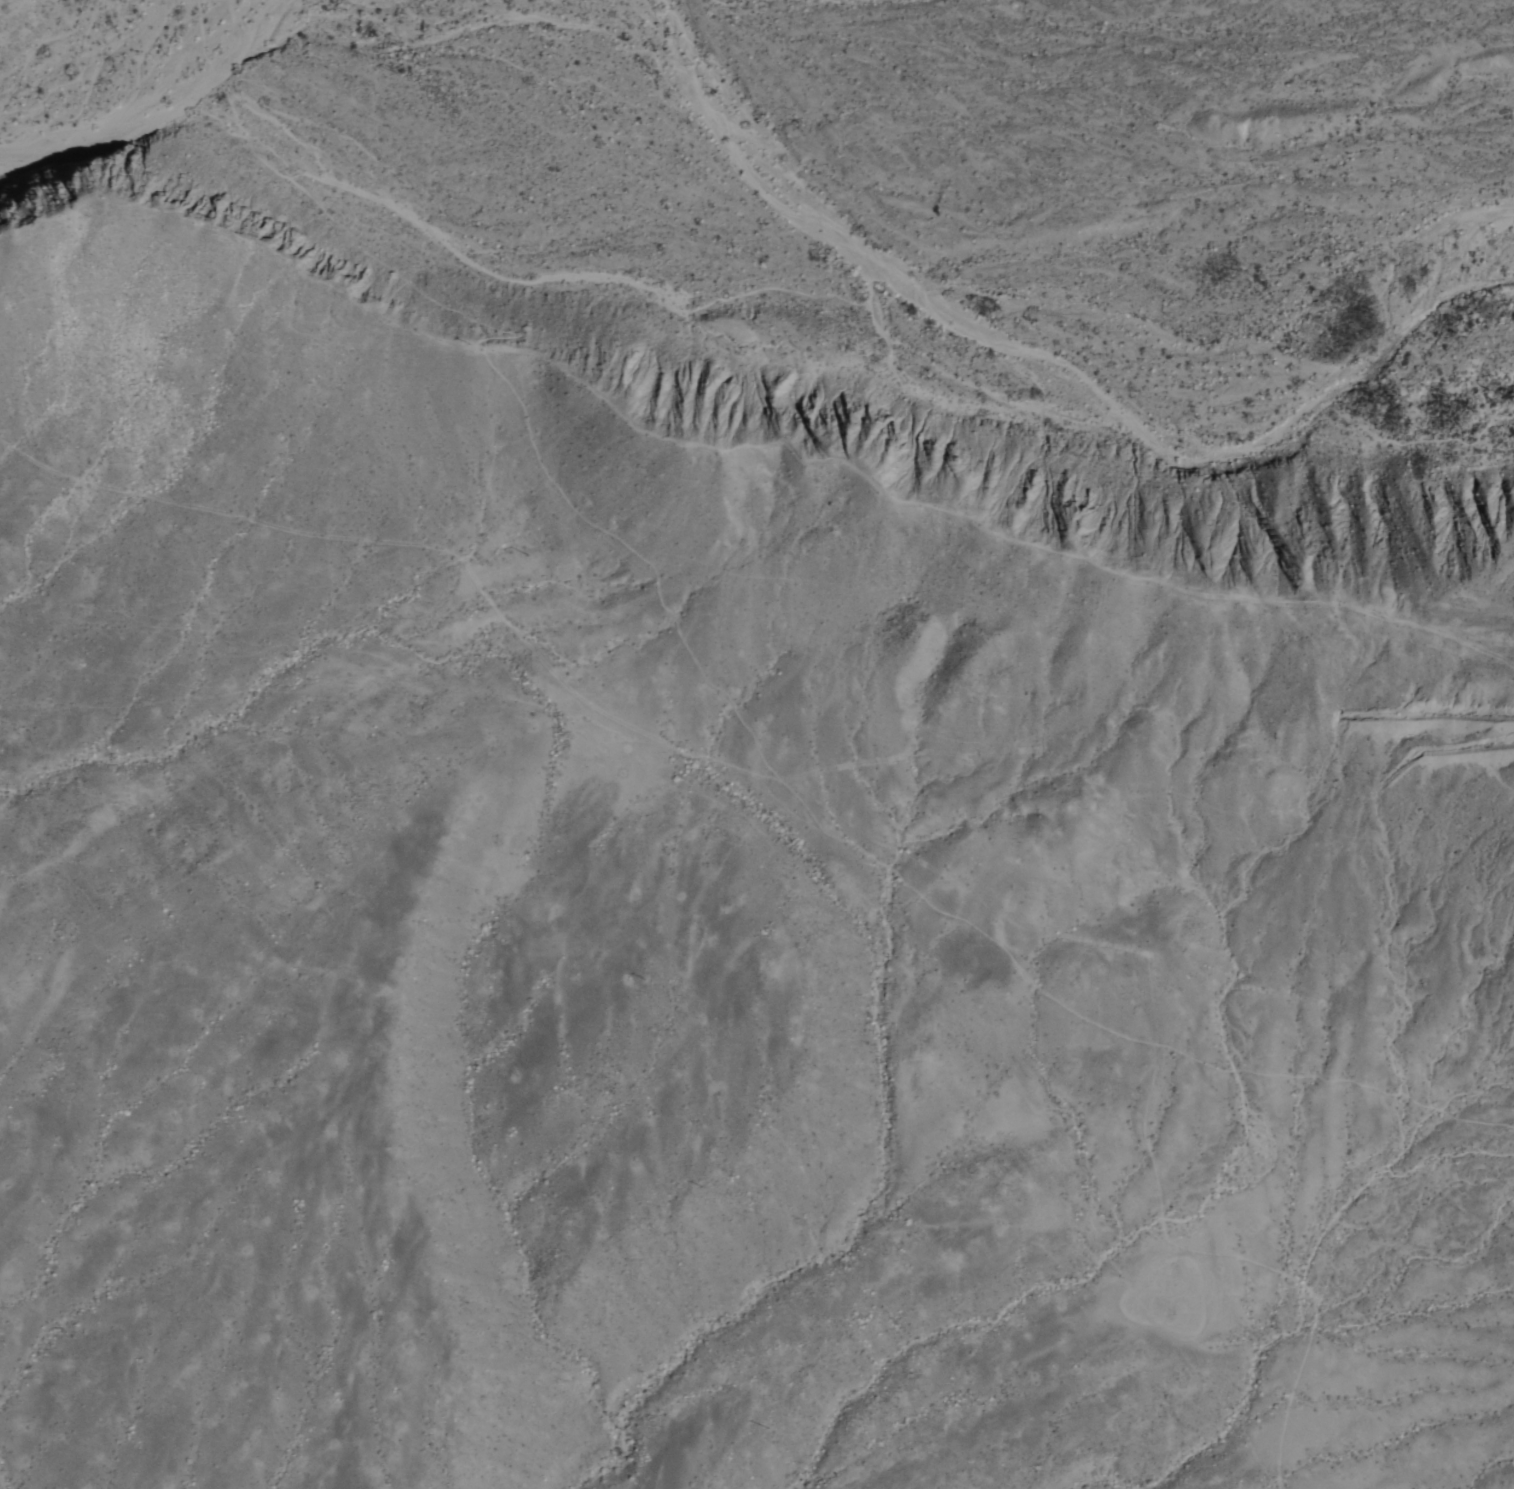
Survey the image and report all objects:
road: (311, 193)
road: (988, 521)
road: (758, 748)
road: (1336, 1080)
road: (1243, 1257)

